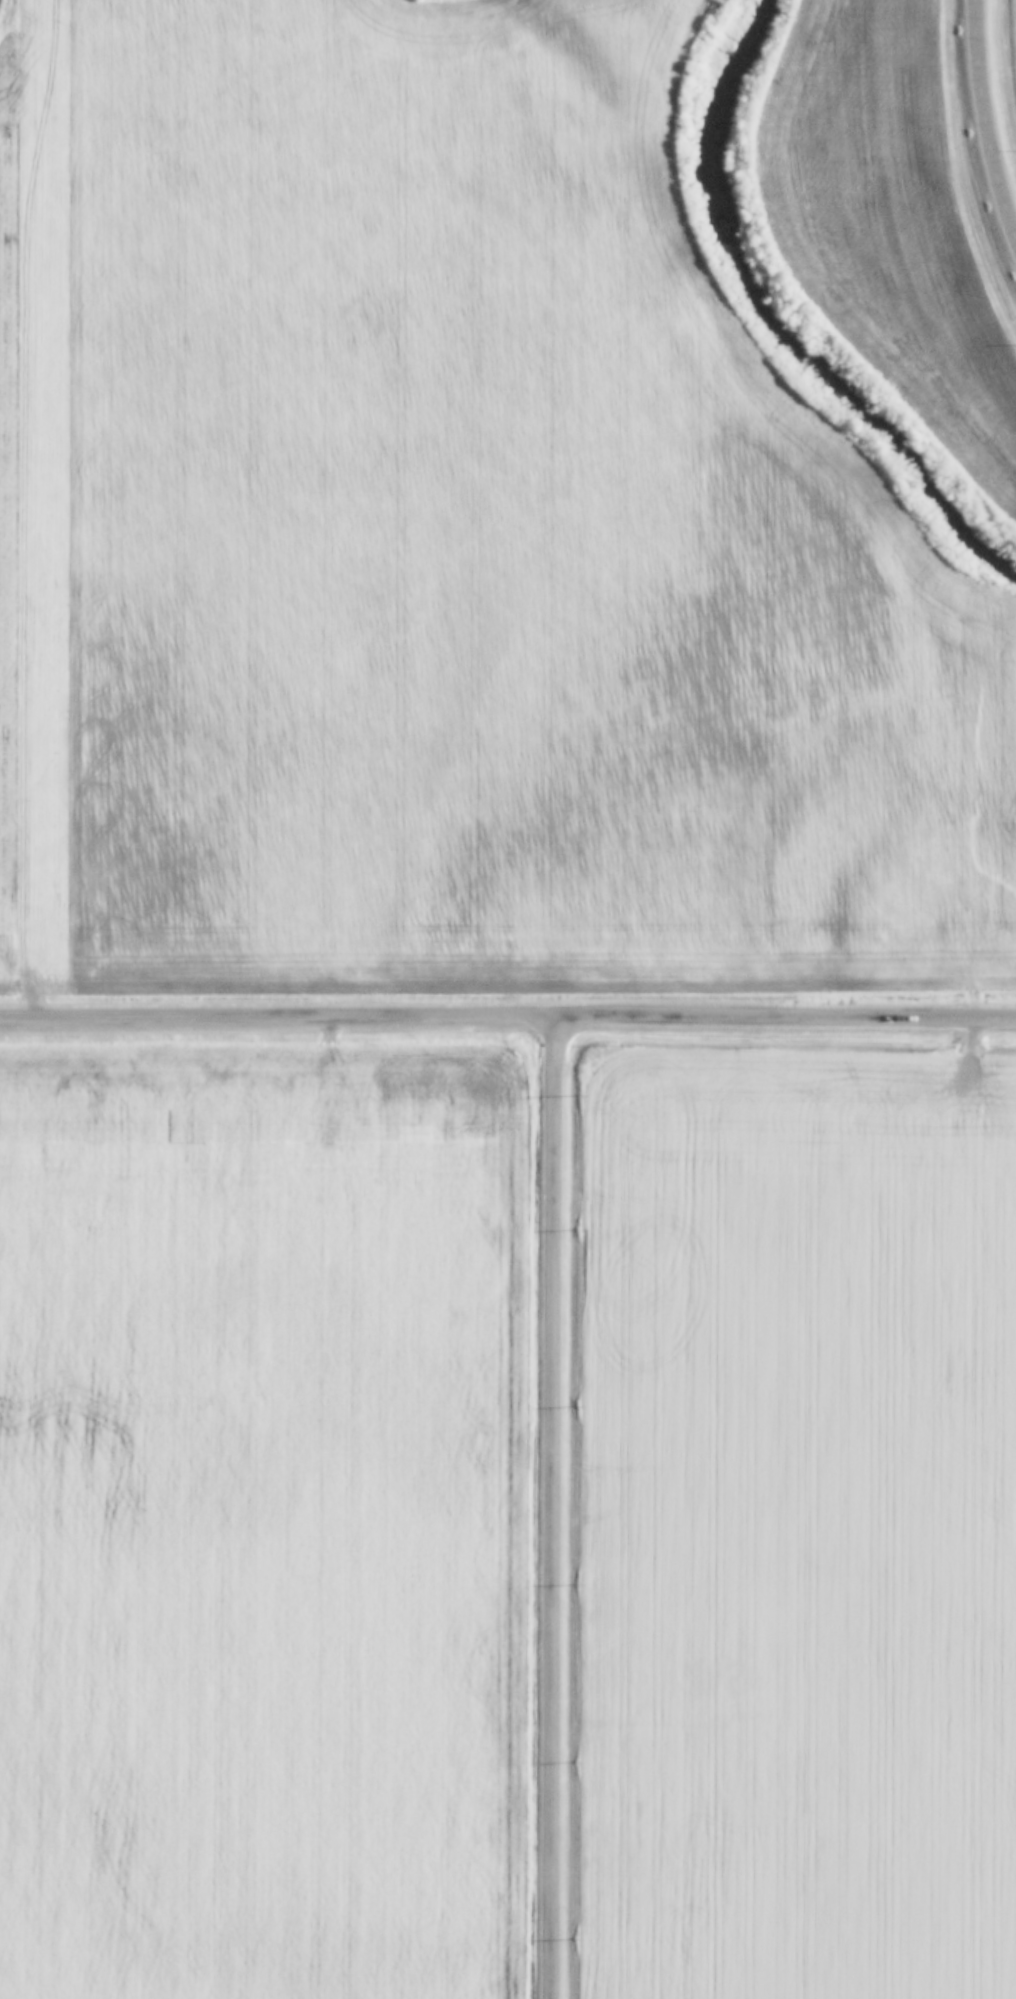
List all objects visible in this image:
road: (987, 116)
road: (507, 1018)
road: (557, 1508)

